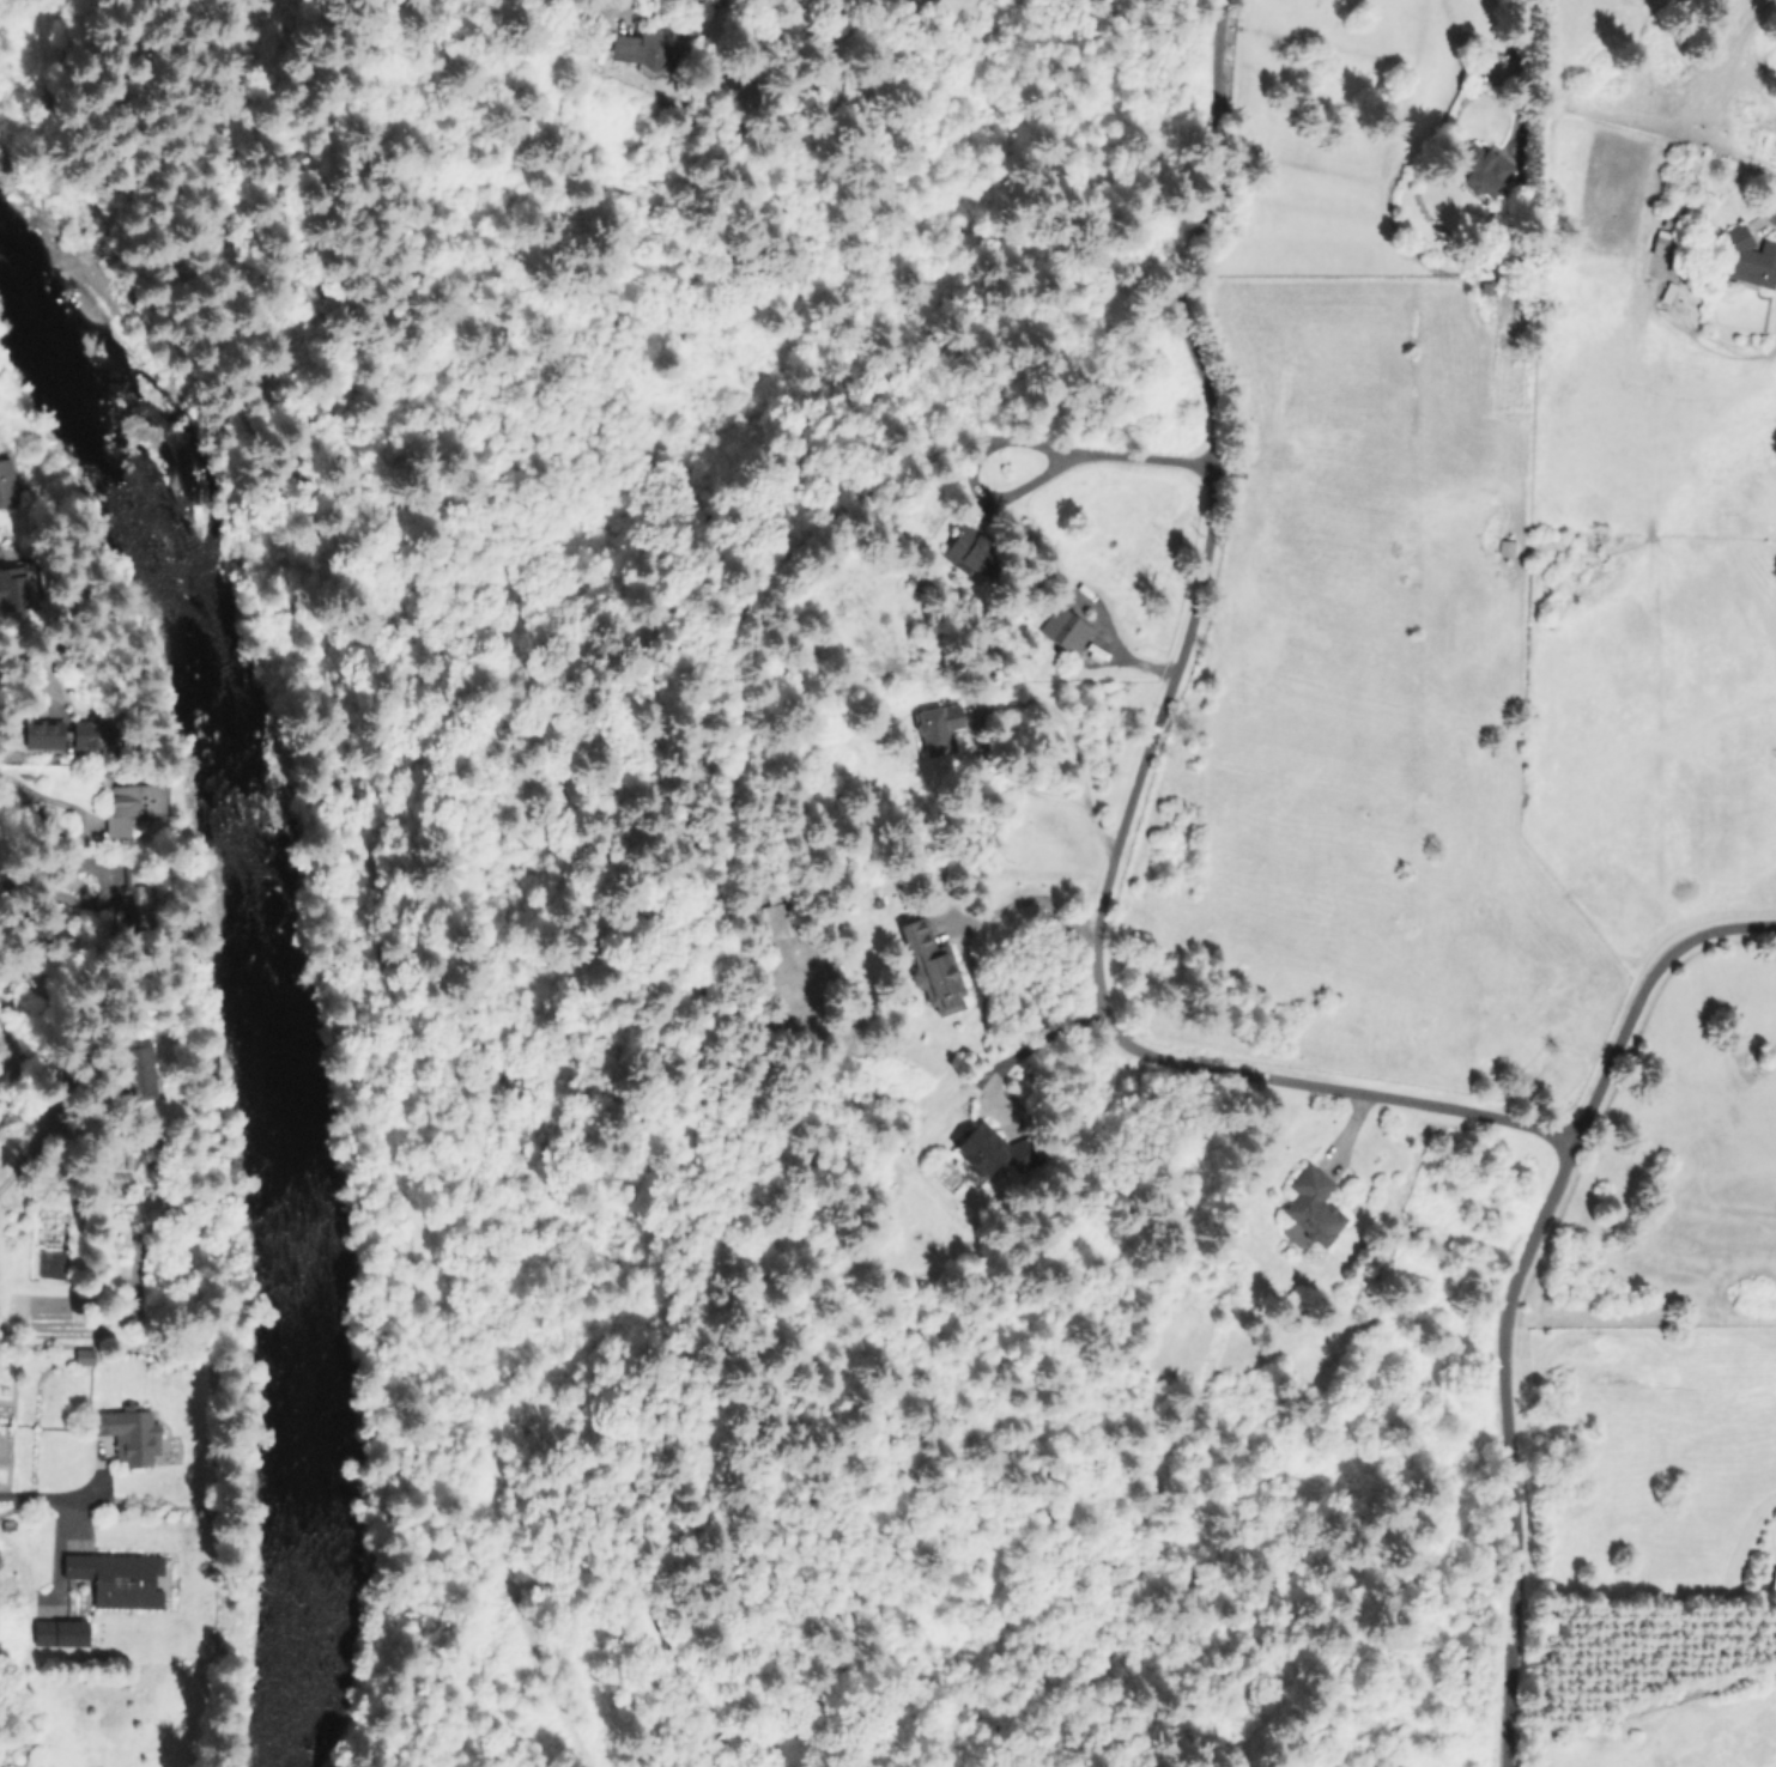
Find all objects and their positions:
building: (635, 47)
road: (1514, 69)
building: (1479, 170)
road: (1172, 235)
building: (1657, 244)
building: (1746, 259)
building: (1675, 302)
road: (1103, 455)
building: (6, 484)
building: (968, 549)
building: (16, 587)
building: (1063, 629)
road: (1017, 703)
building: (941, 724)
building: (90, 733)
building: (41, 736)
road: (24, 787)
building: (131, 804)
road: (1125, 816)
road: (1031, 898)
building: (139, 904)
building: (777, 921)
building: (932, 968)
river: (265, 990)
road: (1638, 991)
road: (1026, 1046)
building: (139, 1071)
road: (1405, 1099)
building: (978, 1152)
road: (22, 1160)
building: (1311, 1204)
building: (83, 1356)
building: (128, 1433)
road: (1509, 1446)
road: (40, 1495)
building: (116, 1578)
building: (1772, 1579)
building: (59, 1632)

